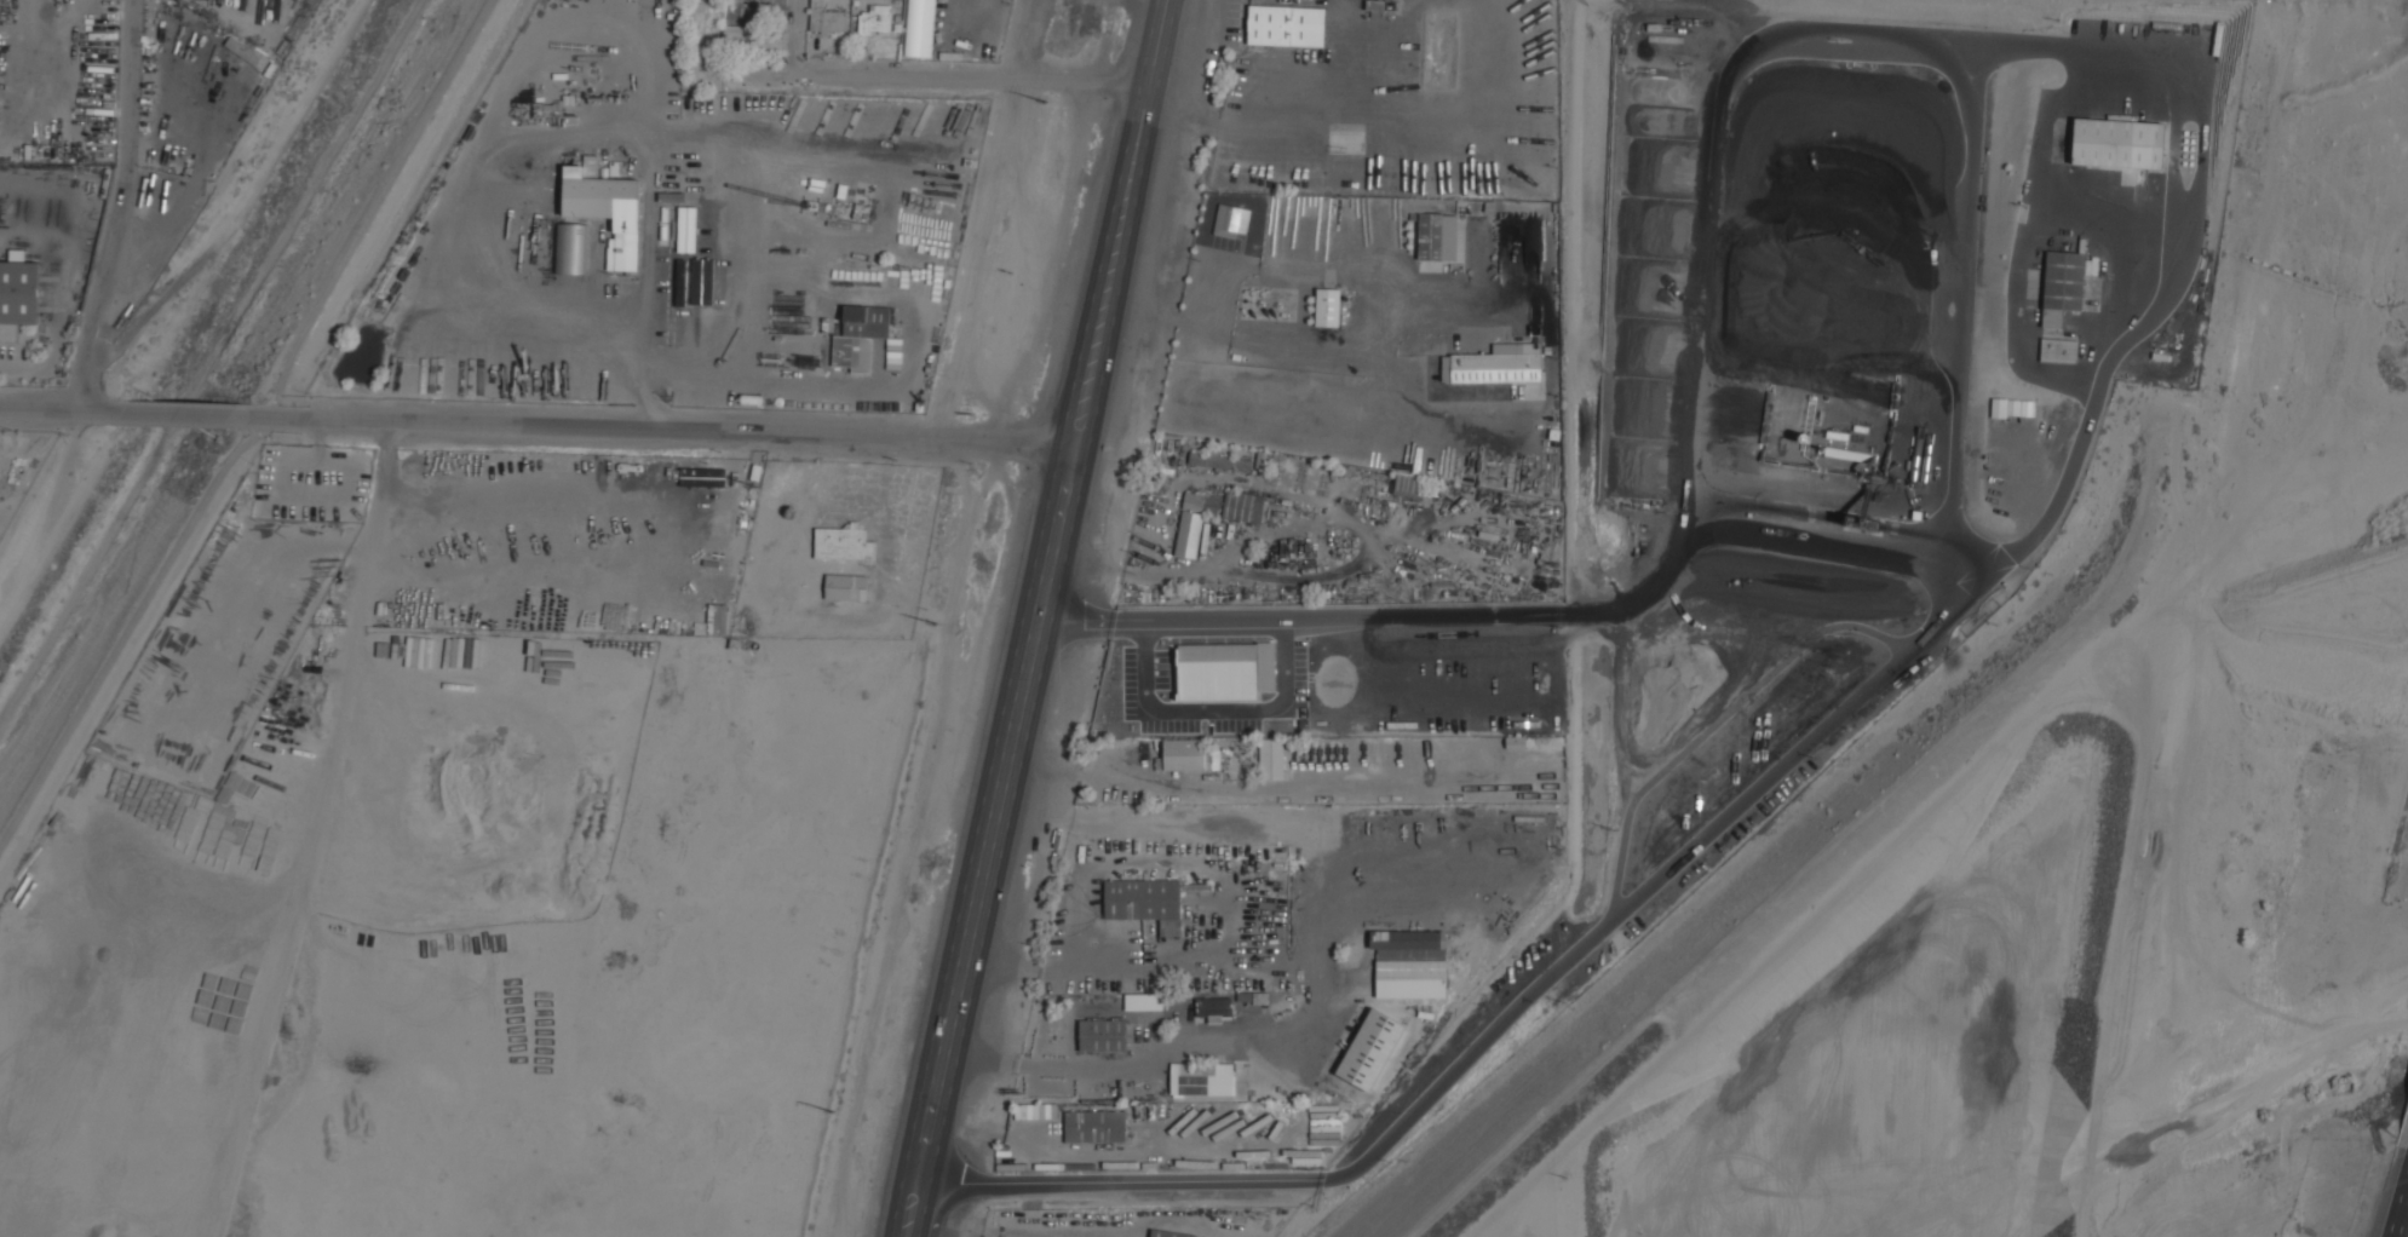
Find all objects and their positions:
building: (822, 18)
building: (874, 19)
building: (1286, 25)
building: (919, 28)
road: (927, 76)
building: (2117, 143)
road: (2174, 202)
building: (605, 206)
road: (115, 207)
building: (1230, 223)
building: (1437, 236)
building: (570, 248)
road: (1246, 271)
building: (2062, 284)
road: (646, 289)
building: (18, 297)
building: (1328, 306)
building: (860, 335)
building: (2058, 350)
building: (1498, 364)
road: (52, 413)
road: (168, 414)
road: (655, 427)
road: (257, 428)
building: (1406, 484)
building: (1192, 501)
building: (1243, 506)
building: (1189, 534)
building: (841, 543)
road: (1835, 550)
building: (845, 587)
road: (1040, 618)
building: (1189, 755)
building: (1270, 758)
building: (1142, 898)
road: (1236, 926)
building: (1409, 962)
building: (1214, 1006)
building: (1102, 1035)
building: (1370, 1049)
road: (1088, 1069)
building: (1202, 1078)
building: (1094, 1126)
road: (1086, 1152)
road: (2395, 1193)
building: (1169, 1233)

